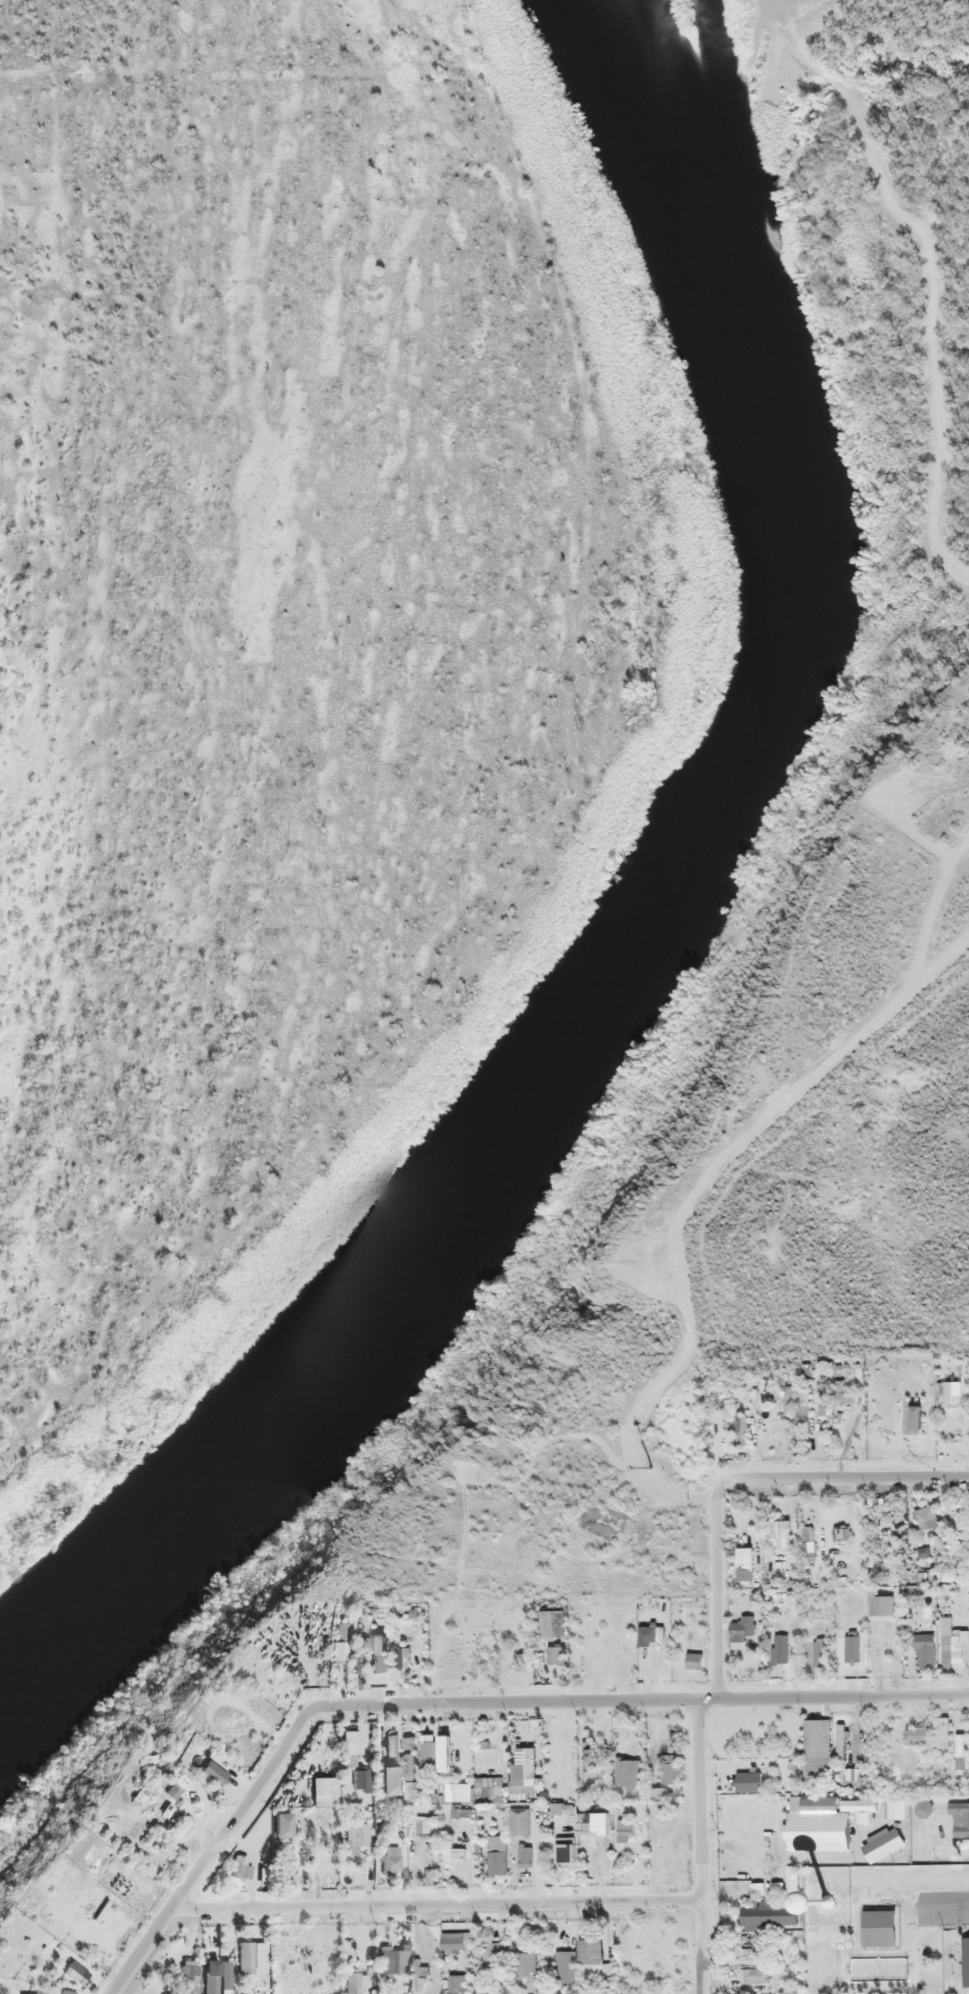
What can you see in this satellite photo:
river: (724, 810)
building: (911, 1415)
building: (741, 1429)
road: (842, 1475)
building: (927, 1517)
building: (779, 1532)
building: (841, 1532)
building: (806, 1538)
building: (744, 1556)
road: (719, 1592)
river: (101, 1596)
building: (882, 1602)
building: (744, 1625)
building: (892, 1646)
building: (955, 1646)
building: (781, 1647)
building: (852, 1647)
building: (925, 1648)
building: (379, 1649)
building: (822, 1650)
building: (557, 1654)
building: (350, 1658)
building: (695, 1660)
road: (632, 1697)
building: (941, 1730)
building: (917, 1733)
building: (817, 1736)
building: (347, 1739)
building: (410, 1740)
building: (391, 1744)
building: (444, 1750)
building: (593, 1750)
building: (568, 1753)
building: (200, 1764)
building: (413, 1765)
building: (629, 1771)
building: (523, 1775)
building: (358, 1776)
building: (384, 1776)
building: (749, 1780)
building: (487, 1784)
building: (320, 1786)
building: (460, 1791)
building: (896, 1811)
building: (961, 1814)
building: (594, 1821)
building: (522, 1823)
building: (817, 1824)
building: (625, 1828)
building: (353, 1835)
building: (883, 1842)
road: (704, 1845)
road: (207, 1850)
building: (567, 1853)
building: (498, 1854)
building: (456, 1855)
building: (526, 1855)
building: (388, 1858)
building: (239, 1864)
water tower: (810, 1876)
water tower: (811, 1877)
water tower: (830, 1900)
road: (440, 1901)
building: (770, 1915)
building: (880, 1924)
building: (456, 1939)
building: (249, 1951)
building: (591, 1953)
building: (966, 1958)
building: (391, 1959)
building: (513, 1963)
building: (568, 1966)
building: (189, 1975)
building: (216, 1976)
building: (355, 1980)
building: (462, 1983)

